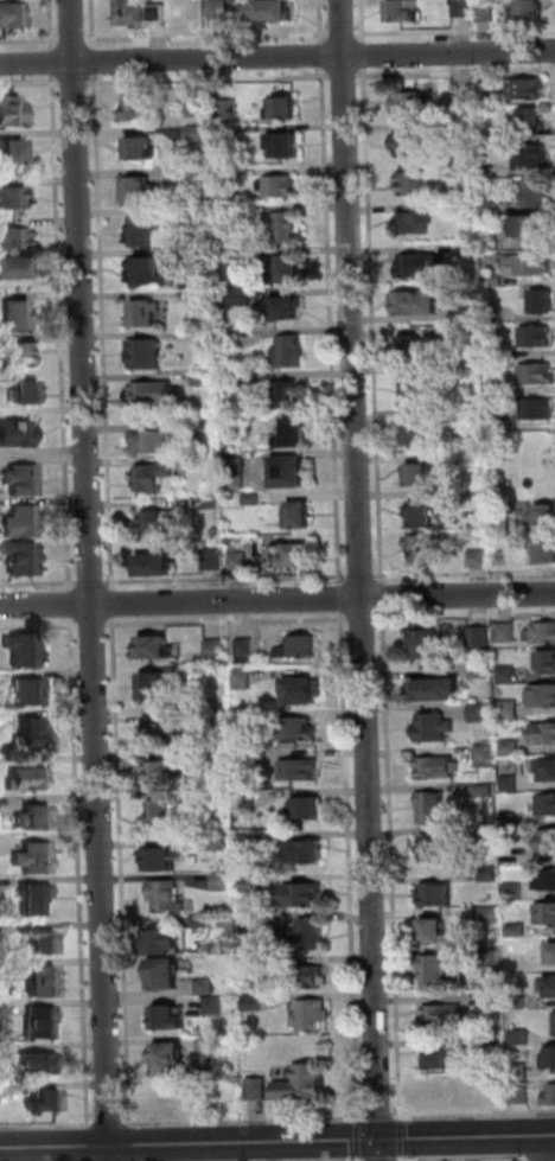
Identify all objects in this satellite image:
building: (222, 9)
building: (464, 9)
building: (273, 11)
building: (407, 12)
building: (534, 12)
building: (143, 13)
building: (487, 14)
building: (13, 18)
road: (365, 20)
road: (323, 21)
road: (95, 24)
road: (52, 25)
road: (457, 31)
road: (346, 33)
road: (210, 37)
road: (31, 40)
road: (75, 40)
road: (368, 55)
road: (324, 56)
road: (277, 57)
road: (95, 60)
road: (53, 62)
road: (457, 74)
road: (346, 77)
road: (211, 79)
road: (77, 82)
road: (31, 83)
building: (529, 88)
building: (491, 90)
building: (413, 102)
building: (464, 102)
building: (142, 108)
building: (198, 108)
building: (285, 109)
building: (13, 113)
building: (536, 121)
building: (466, 127)
building: (225, 130)
building: (197, 133)
building: (409, 145)
building: (287, 147)
building: (141, 149)
building: (12, 153)
building: (534, 154)
building: (224, 174)
building: (196, 177)
building: (419, 183)
building: (283, 186)
building: (140, 191)
building: (537, 193)
building: (14, 198)
building: (495, 205)
building: (194, 216)
building: (227, 218)
building: (420, 219)
building: (534, 225)
building: (286, 228)
building: (145, 231)
building: (492, 235)
building: (13, 238)
building: (473, 247)
building: (228, 256)
building: (203, 257)
building: (423, 264)
building: (530, 264)
building: (292, 270)
building: (14, 273)
building: (148, 273)
building: (497, 279)
building: (244, 298)
building: (204, 300)
building: (546, 302)
building: (421, 304)
building: (286, 312)
building: (147, 313)
building: (20, 318)
road: (333, 326)
road: (376, 326)
road: (106, 331)
road: (64, 332)
building: (211, 336)
building: (538, 336)
building: (235, 337)
building: (416, 350)
building: (292, 352)
building: (19, 355)
building: (147, 355)
building: (538, 374)
building: (206, 377)
building: (250, 378)
building: (504, 385)
building: (419, 387)
building: (158, 391)
building: (26, 395)
building: (287, 396)
building: (540, 409)
building: (448, 413)
building: (504, 423)
building: (420, 430)
building: (17, 434)
building: (295, 435)
building: (158, 444)
building: (459, 457)
building: (237, 472)
building: (157, 474)
building: (292, 474)
building: (420, 476)
building: (24, 479)
building: (460, 493)
building: (254, 498)
building: (212, 502)
building: (423, 513)
building: (302, 517)
building: (546, 517)
building: (24, 522)
building: (164, 522)
building: (503, 529)
building: (518, 546)
building: (423, 550)
building: (548, 554)
building: (24, 557)
building: (298, 559)
building: (479, 559)
building: (241, 561)
building: (213, 563)
building: (159, 567)
road: (466, 573)
road: (363, 576)
road: (91, 580)
road: (228, 580)
road: (362, 580)
road: (94, 581)
road: (39, 582)
road: (384, 597)
road: (340, 598)
road: (277, 600)
road: (114, 602)
road: (71, 604)
road: (466, 617)
road: (363, 619)
road: (228, 621)
road: (39, 625)
road: (92, 625)
building: (505, 632)
building: (541, 632)
building: (479, 637)
building: (426, 643)
building: (155, 645)
building: (213, 646)
building: (299, 646)
building: (25, 648)
building: (244, 649)
building: (548, 659)
building: (481, 669)
building: (508, 675)
building: (242, 677)
building: (155, 687)
building: (436, 687)
building: (302, 689)
building: (30, 691)
building: (543, 694)
building: (510, 709)
building: (481, 713)
building: (243, 717)
building: (218, 721)
building: (434, 725)
building: (296, 729)
building: (33, 732)
building: (165, 732)
building: (543, 732)
building: (511, 747)
building: (485, 754)
building: (245, 757)
building: (436, 765)
building: (298, 770)
building: (546, 770)
building: (166, 772)
building: (26, 779)
building: (510, 783)
building: (484, 790)
building: (221, 798)
building: (247, 799)
building: (547, 803)
building: (432, 805)
building: (311, 806)
building: (160, 814)
building: (36, 817)
building: (510, 819)
building: (248, 840)
building: (547, 840)
building: (221, 841)
building: (430, 846)
building: (304, 853)
building: (36, 857)
building: (161, 859)
road: (391, 865)
road: (350, 867)
road: (121, 872)
road: (79, 873)
building: (489, 873)
building: (546, 878)
building: (222, 882)
building: (249, 883)
building: (515, 891)
building: (439, 892)
building: (304, 894)
building: (166, 897)
building: (36, 898)
building: (546, 912)
building: (490, 914)
building: (251, 919)
building: (202, 921)
building: (435, 929)
building: (517, 929)
building: (310, 933)
building: (165, 939)
building: (42, 943)
building: (553, 949)
building: (492, 957)
building: (253, 964)
building: (436, 970)
building: (2, 971)
building: (165, 971)
building: (306, 976)
building: (44, 981)
building: (550, 984)
building: (205, 985)
building: (493, 997)
building: (519, 1001)
building: (254, 1003)
building: (215, 1006)
building: (2, 1010)
building: (444, 1013)
building: (171, 1016)
building: (311, 1016)
building: (554, 1021)
building: (42, 1022)
building: (519, 1035)
building: (209, 1050)
building: (551, 1054)
building: (445, 1055)
building: (168, 1059)
building: (37, 1064)
building: (521, 1071)
building: (302, 1084)
building: (257, 1089)
building: (447, 1089)
building: (522, 1092)
building: (550, 1096)
building: (167, 1097)
building: (46, 1099)
road: (476, 1115)
road: (379, 1116)
road: (243, 1121)
road: (110, 1124)
road: (49, 1127)
road: (554, 1134)
road: (401, 1138)
road: (358, 1140)
traffic signals: (378, 1140)
road: (276, 1142)
road: (130, 1144)
road: (89, 1146)
road: (550, 1147)
road: (541, 1157)
road: (359, 1159)
road: (402, 1159)
road: (461, 1159)
road: (362, 1160)
road: (379, 1160)
road: (524, 1160)

